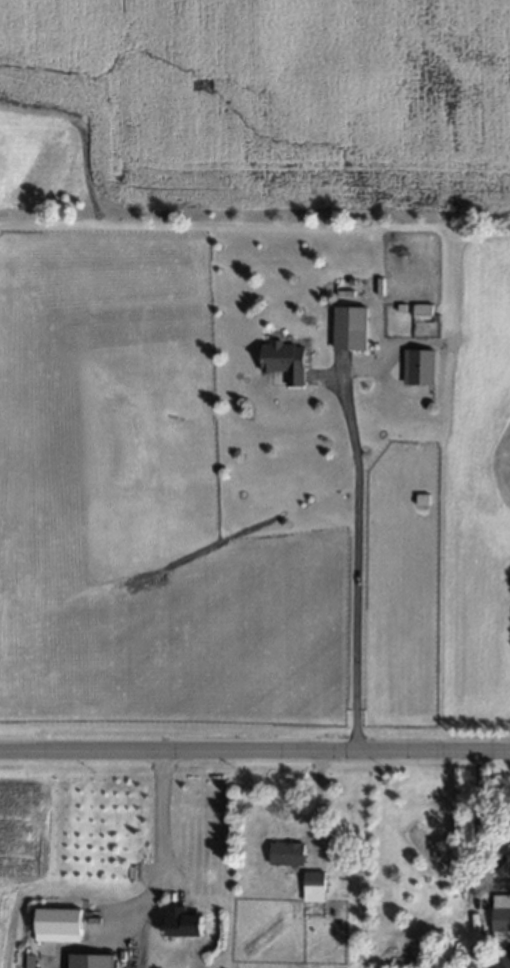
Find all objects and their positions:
crop: (273, 101)
building: (422, 310)
building: (349, 329)
building: (284, 361)
building: (419, 367)
road: (356, 557)
road: (254, 755)
road: (160, 817)
crop: (25, 827)
road: (476, 843)
building: (509, 843)
building: (287, 854)
building: (313, 887)
building: (501, 919)
building: (183, 922)
building: (58, 926)
building: (501, 960)
building: (91, 961)
crop: (315, 965)

